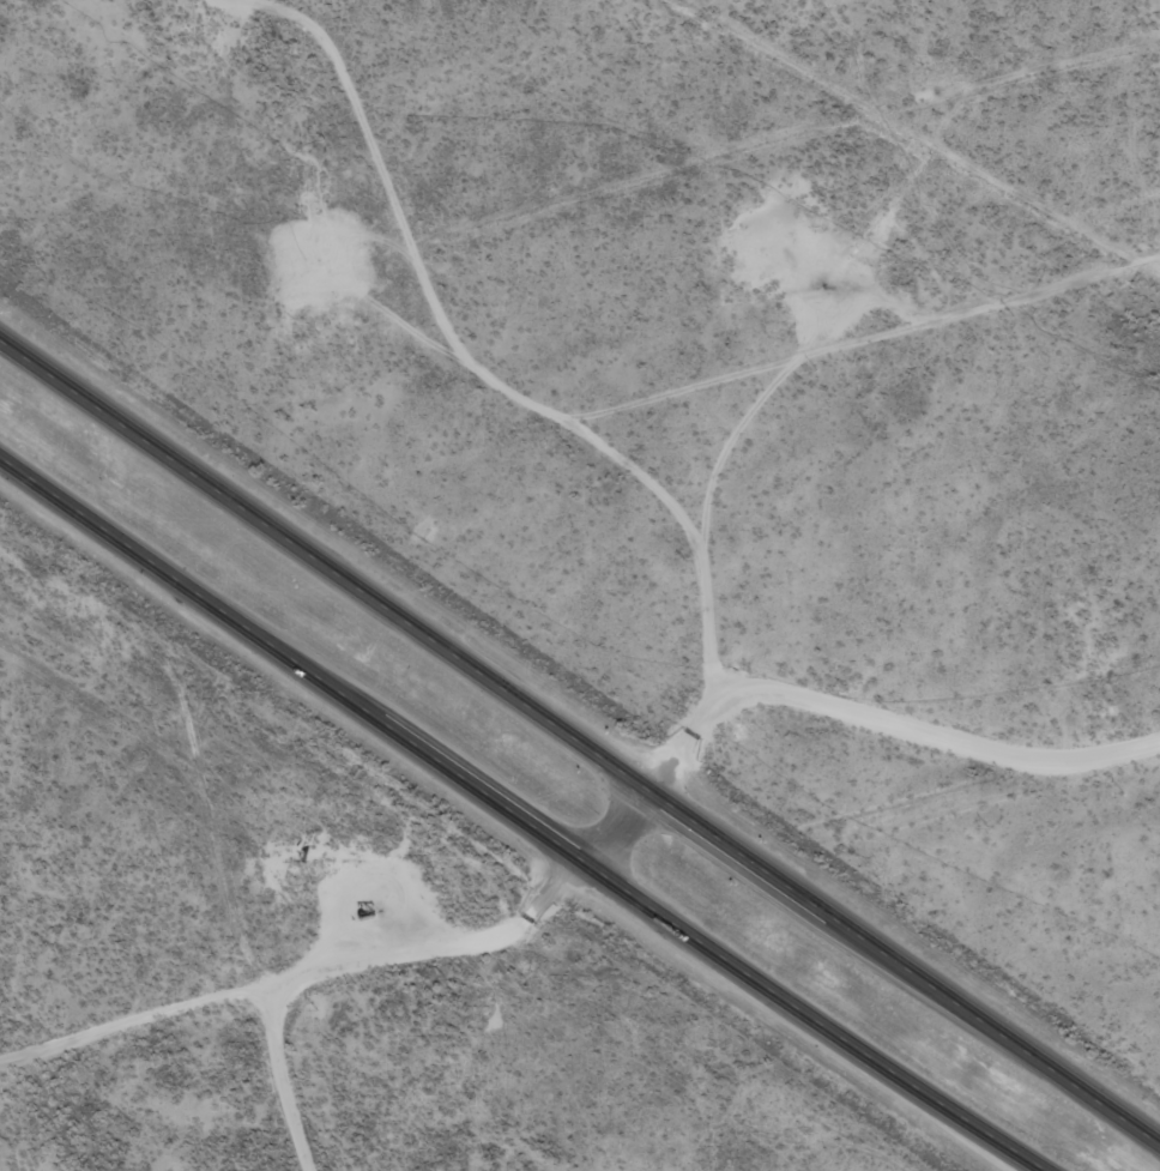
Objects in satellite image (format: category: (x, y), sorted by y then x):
road: (883, 717)
road: (580, 741)
road: (521, 817)
road: (618, 827)
road: (303, 977)
road: (297, 1078)

